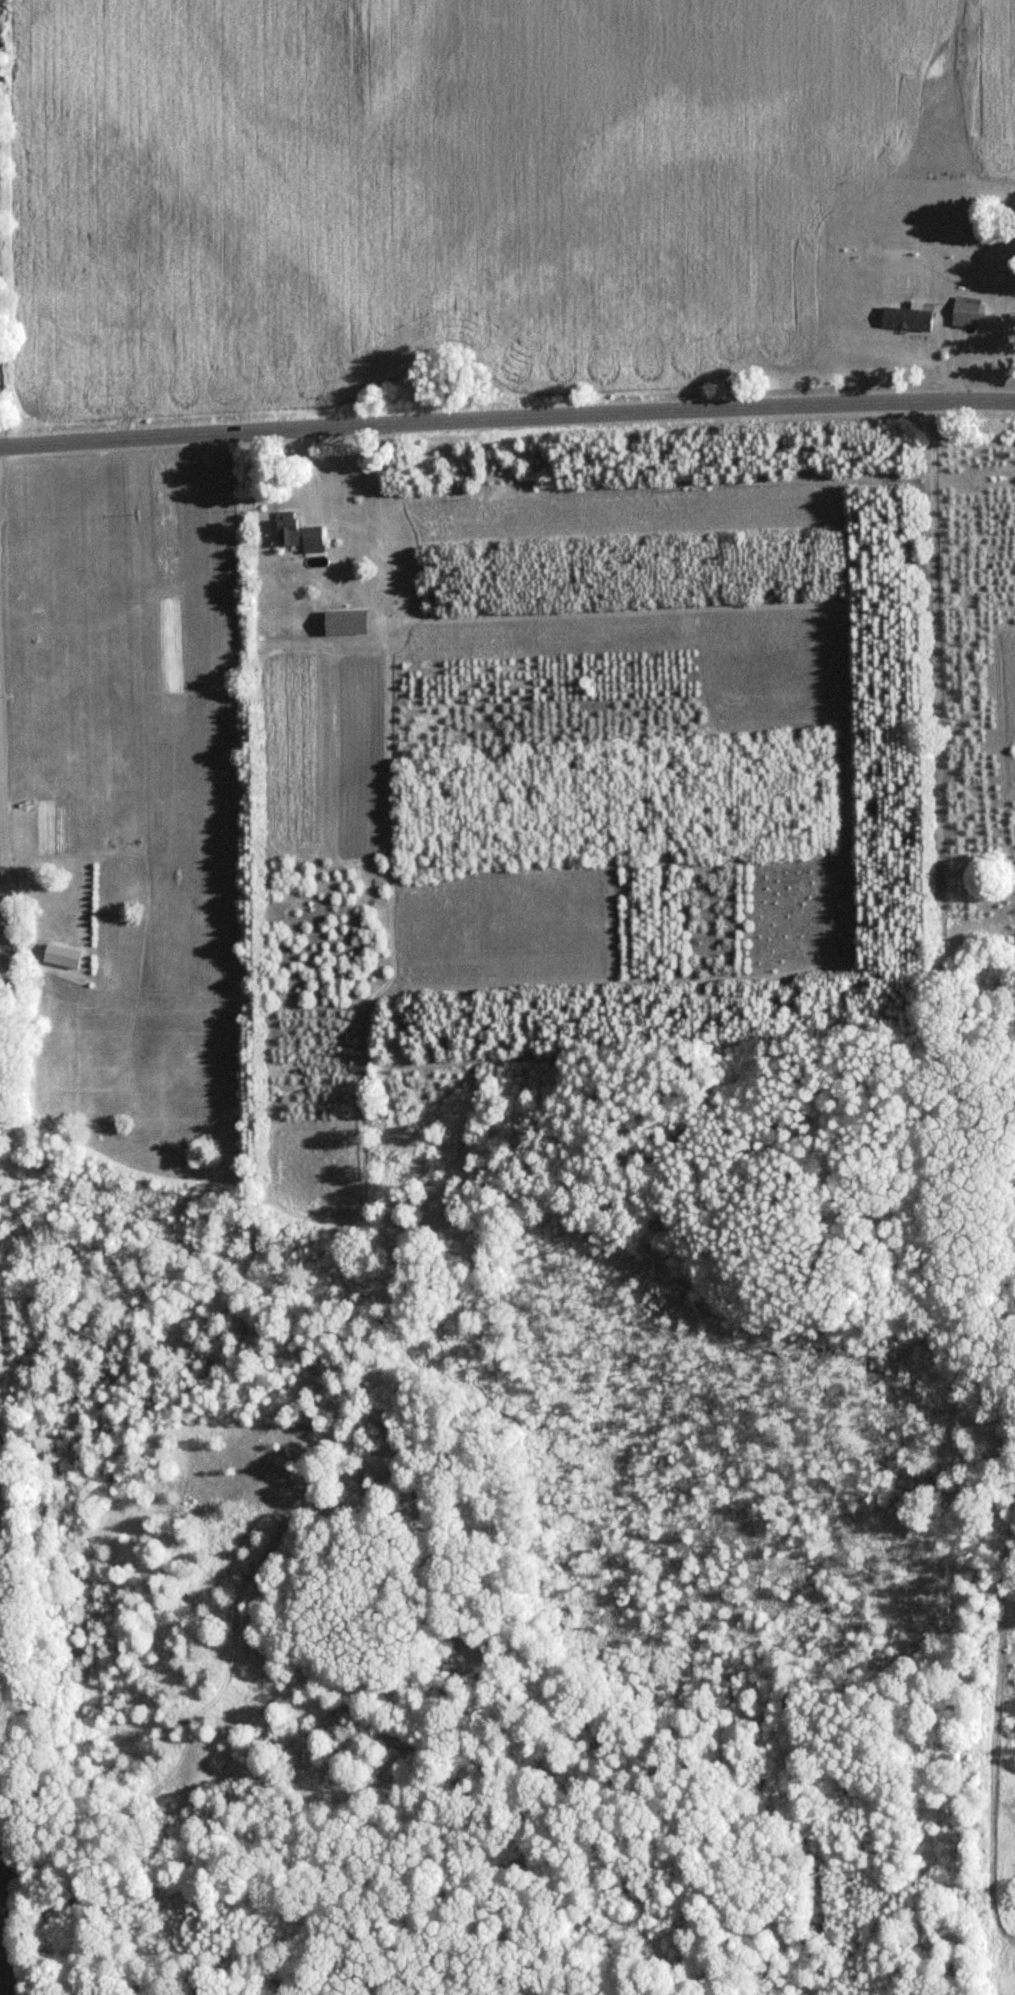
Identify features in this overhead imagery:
building: (963, 312)
building: (904, 318)
road: (507, 416)
building: (296, 536)
building: (342, 624)
road: (1, 891)
building: (57, 955)

